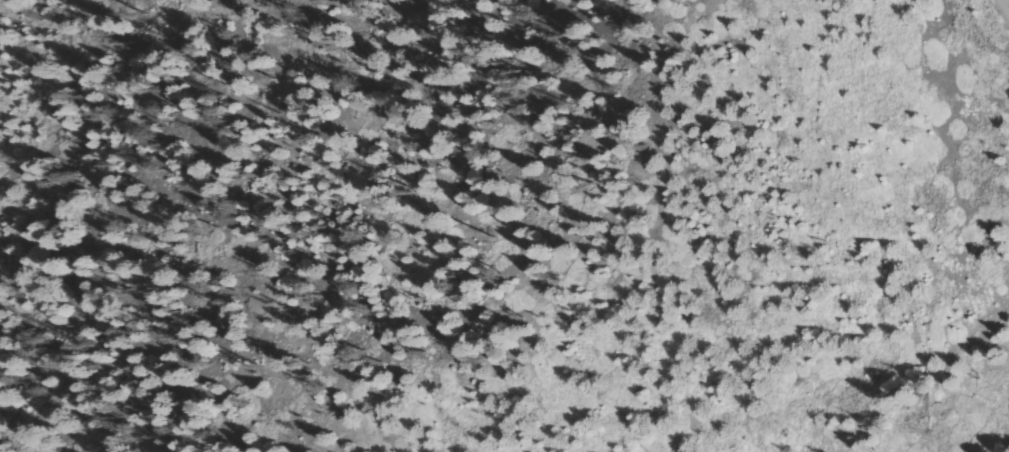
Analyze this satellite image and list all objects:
road: (1004, 7)

